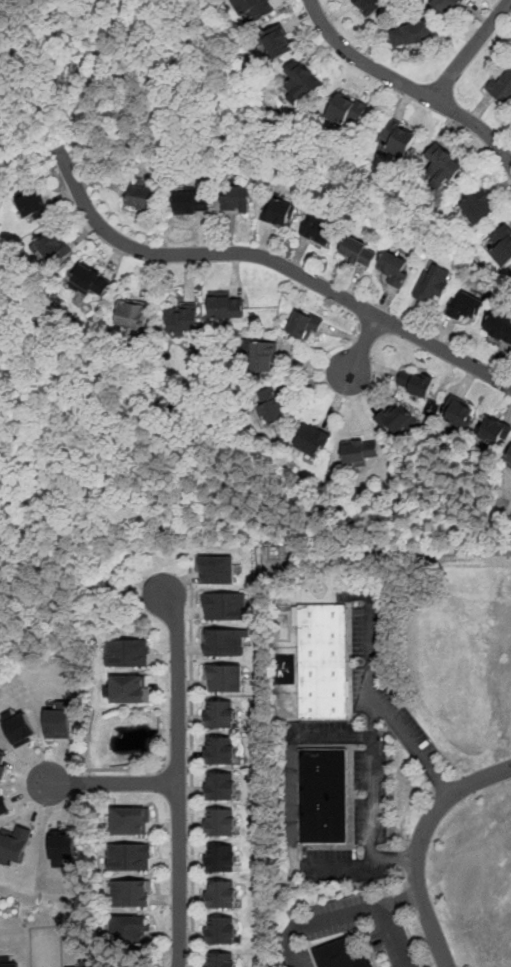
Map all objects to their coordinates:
building: (446, 6)
building: (370, 7)
building: (254, 10)
building: (412, 35)
building: (278, 43)
road: (470, 49)
building: (302, 81)
road: (406, 86)
building: (502, 86)
building: (347, 109)
building: (395, 138)
building: (442, 168)
building: (144, 197)
building: (236, 198)
building: (192, 202)
building: (32, 205)
building: (479, 207)
building: (278, 211)
building: (318, 230)
building: (501, 245)
building: (53, 247)
building: (358, 252)
road: (272, 260)
building: (393, 267)
building: (91, 279)
building: (434, 282)
building: (227, 306)
building: (466, 307)
building: (131, 313)
building: (182, 318)
building: (305, 324)
building: (499, 326)
road: (363, 348)
building: (263, 357)
building: (415, 383)
building: (272, 406)
building: (459, 414)
building: (397, 419)
building: (494, 431)
building: (311, 440)
building: (359, 452)
building: (509, 458)
building: (217, 569)
building: (226, 606)
building: (224, 642)
building: (128, 651)
building: (323, 660)
road: (371, 663)
building: (223, 678)
building: (129, 690)
building: (221, 713)
building: (60, 720)
building: (20, 727)
road: (401, 728)
building: (221, 749)
road: (373, 754)
building: (3, 763)
road: (120, 769)
road: (176, 769)
road: (192, 769)
road: (176, 776)
road: (438, 779)
road: (111, 783)
building: (221, 786)
building: (323, 796)
building: (4, 806)
building: (130, 822)
building: (221, 822)
building: (15, 844)
road: (419, 845)
building: (62, 846)
building: (130, 858)
building: (221, 858)
road: (394, 858)
road: (342, 864)
building: (221, 894)
building: (131, 895)
road: (400, 899)
road: (348, 914)
building: (221, 930)
building: (129, 931)
building: (342, 955)
building: (215, 960)
building: (9, 962)
building: (86, 963)

